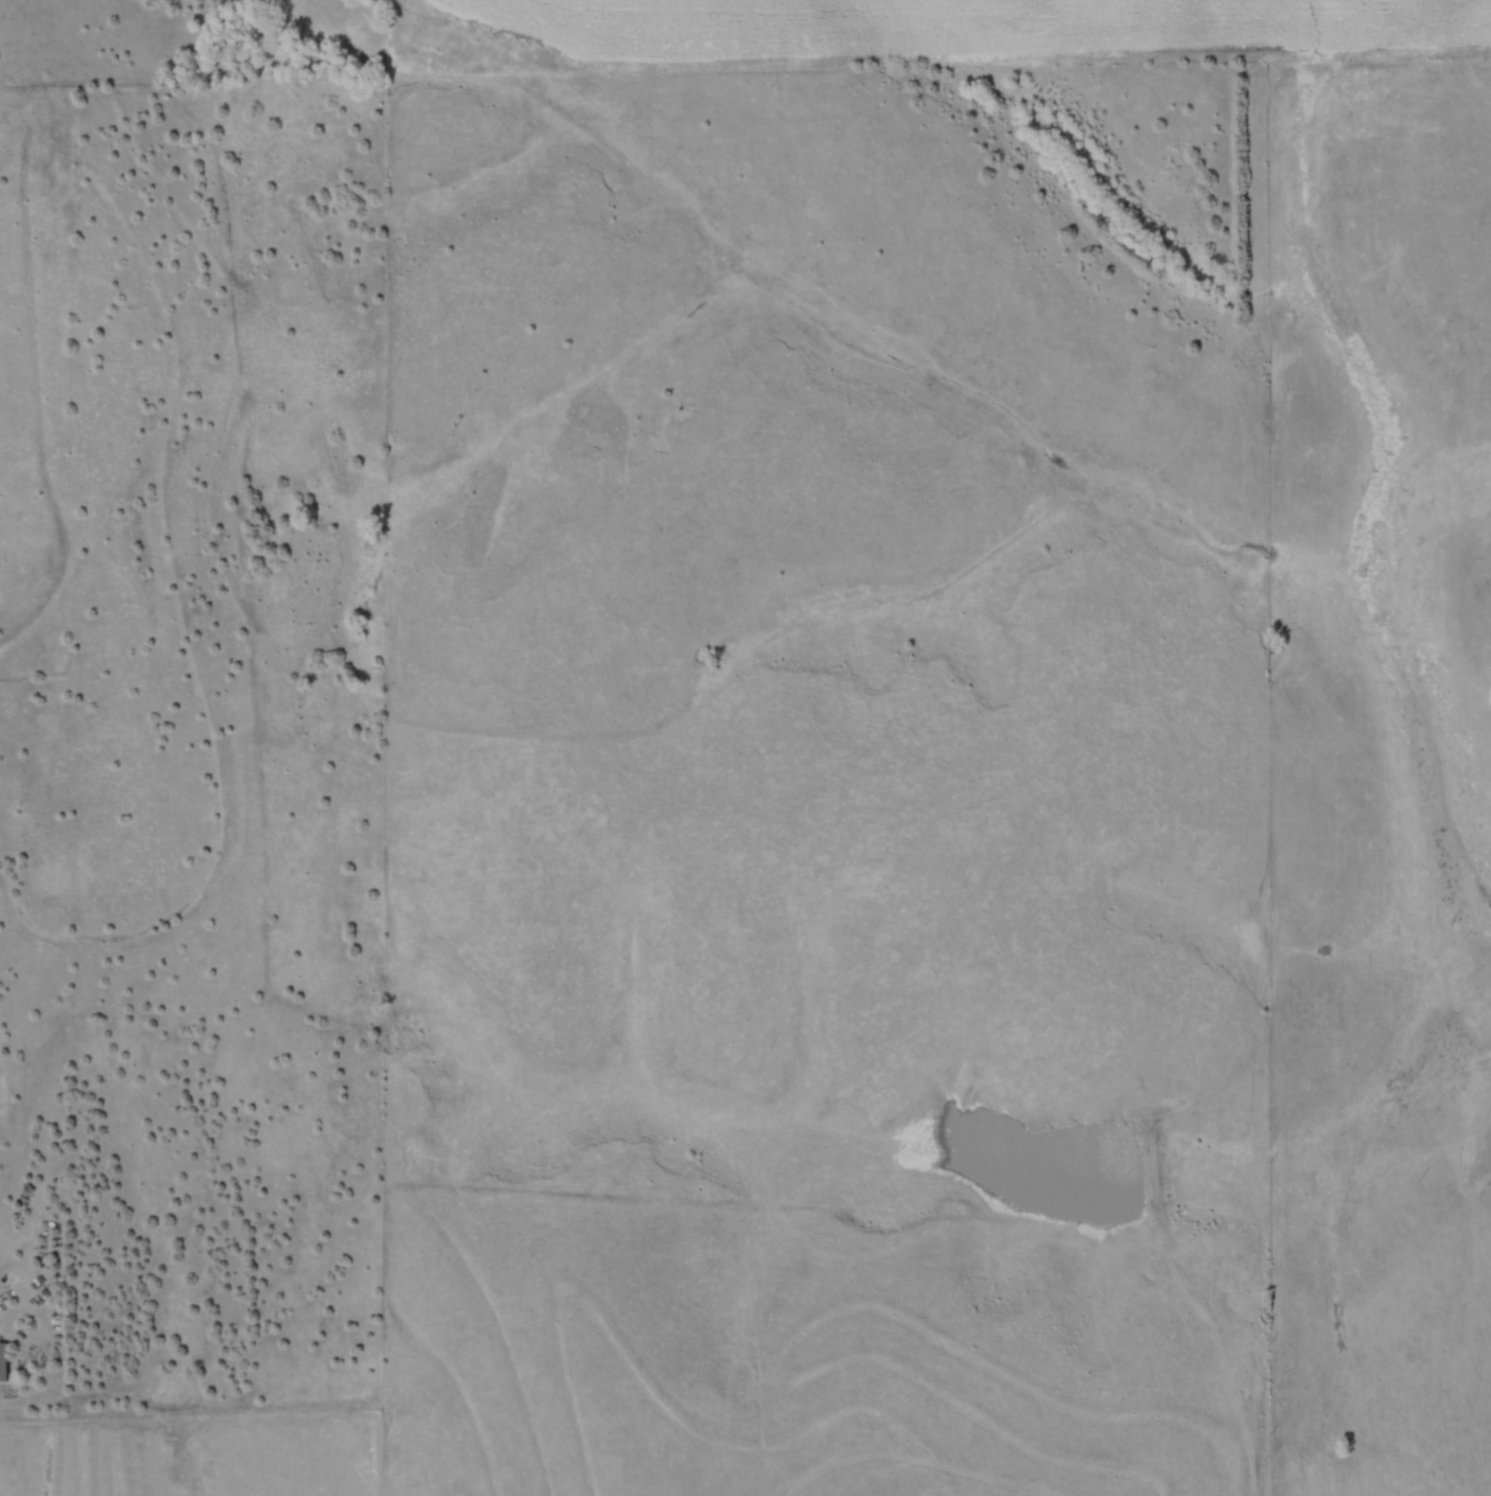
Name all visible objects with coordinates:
building: (1, 1361)

